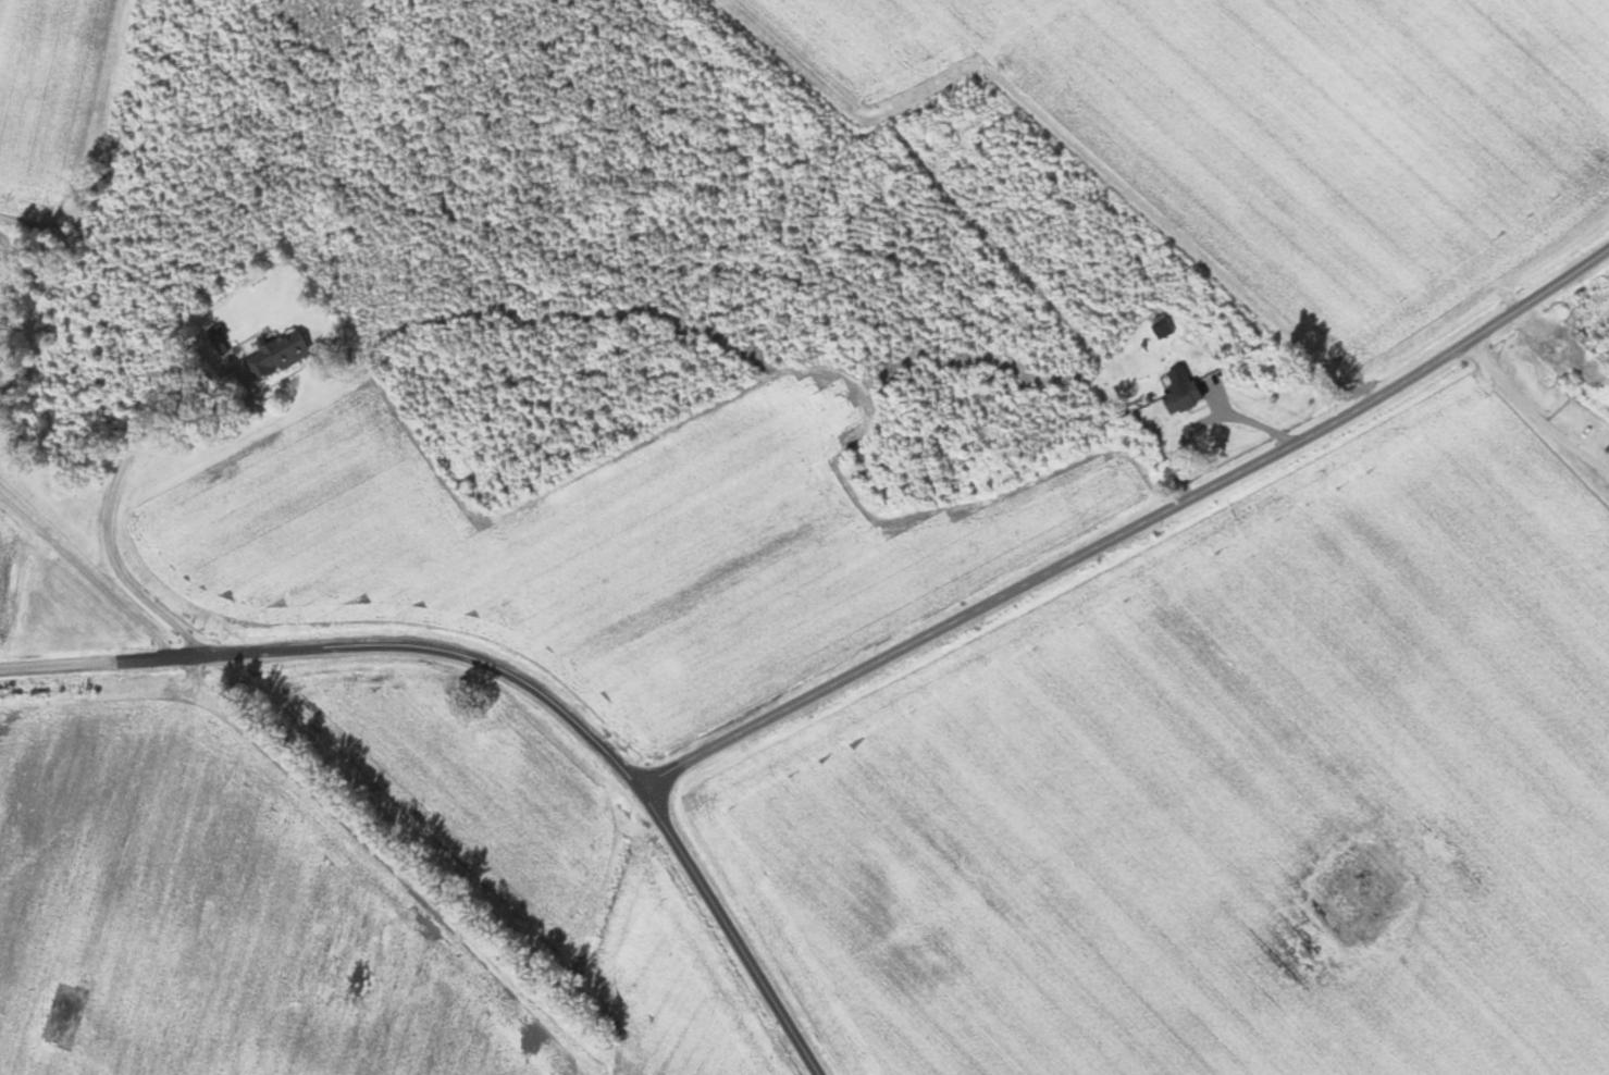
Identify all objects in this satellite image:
building: (1588, 311)
building: (277, 356)
building: (1606, 358)
building: (1183, 398)
road: (1535, 411)
road: (111, 499)
road: (1128, 523)
road: (509, 672)

